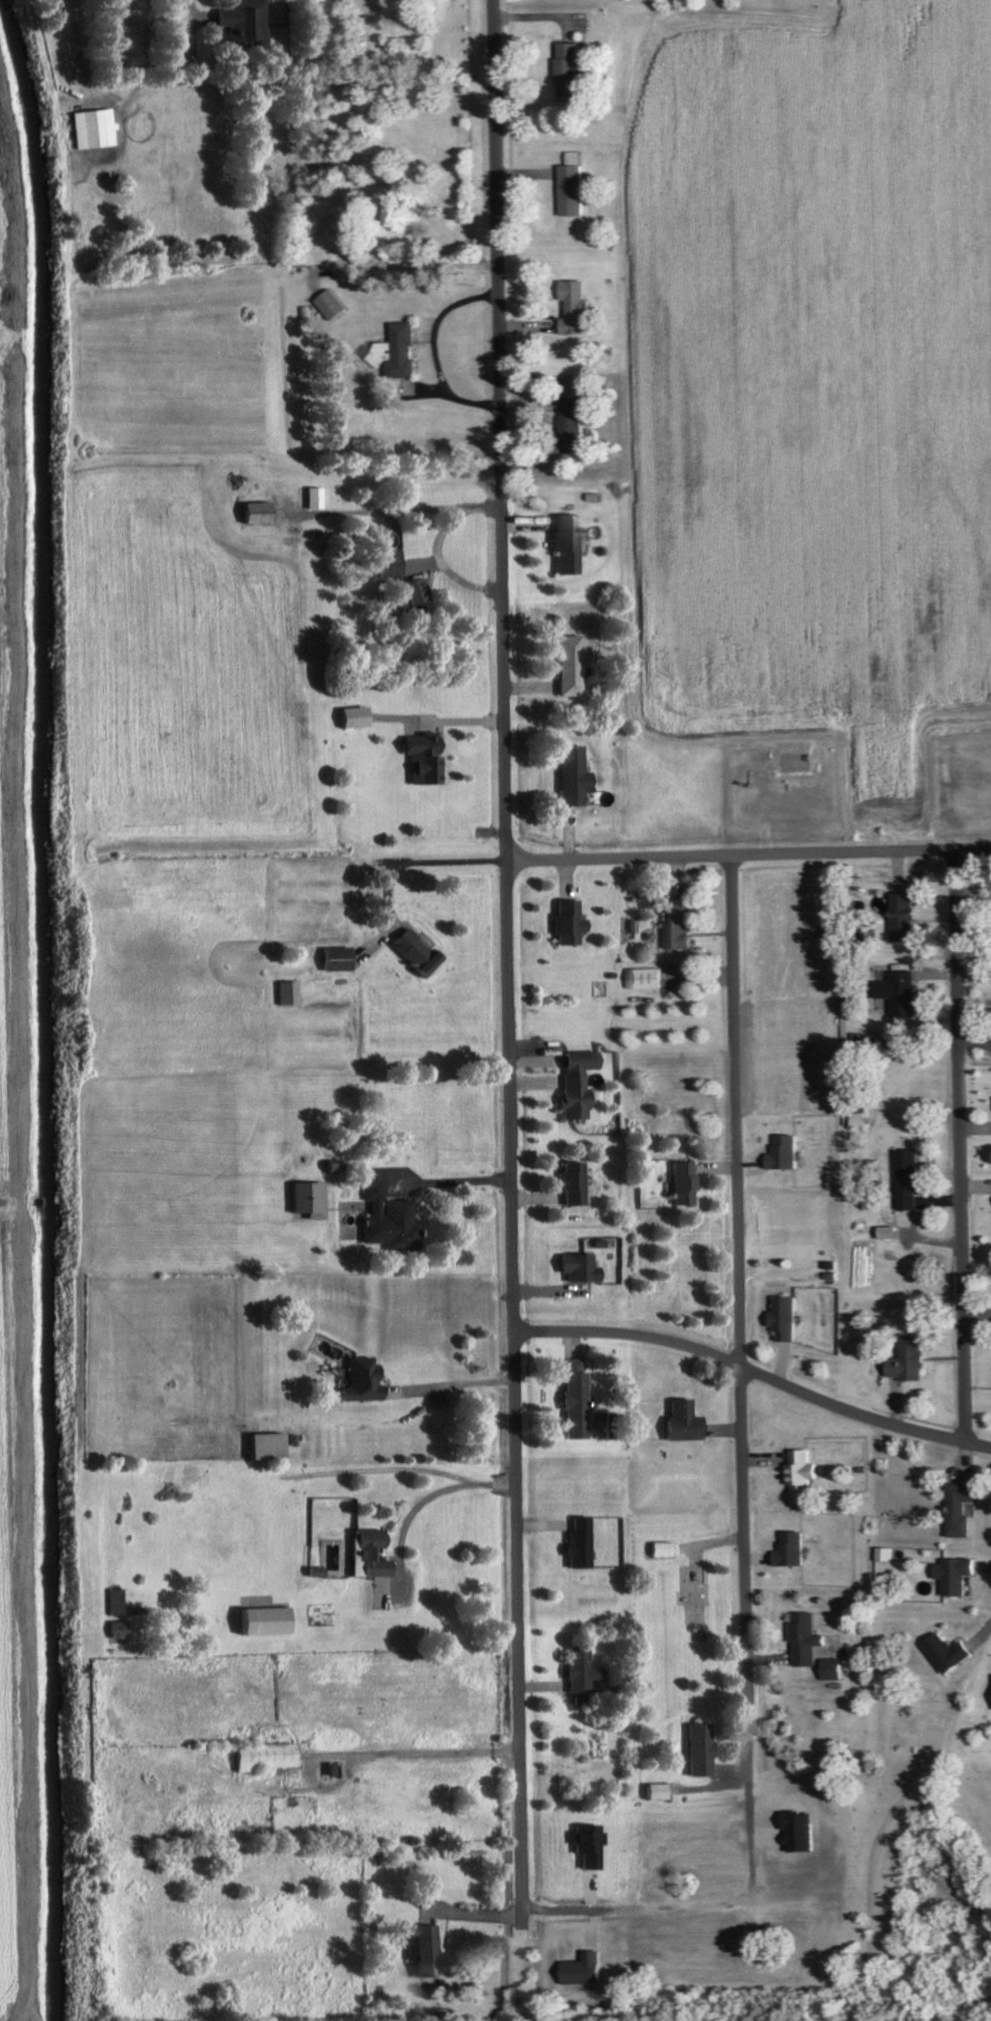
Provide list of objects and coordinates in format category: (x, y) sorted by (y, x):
building: (247, 23)
building: (571, 71)
road: (258, 84)
building: (95, 129)
building: (574, 186)
road: (468, 206)
building: (333, 306)
building: (577, 308)
road: (434, 349)
building: (399, 352)
building: (575, 423)
building: (316, 499)
road: (391, 508)
building: (261, 513)
building: (568, 545)
road: (442, 561)
building: (392, 564)
building: (418, 593)
building: (572, 666)
building: (357, 717)
building: (426, 758)
building: (575, 776)
road: (747, 852)
road: (443, 860)
building: (906, 917)
building: (570, 922)
building: (679, 924)
building: (417, 952)
building: (339, 959)
road: (505, 959)
building: (648, 979)
building: (288, 992)
building: (903, 993)
building: (578, 1084)
building: (861, 1119)
road: (956, 1142)
building: (786, 1153)
road: (440, 1177)
building: (911, 1180)
building: (575, 1183)
building: (684, 1183)
building: (310, 1199)
building: (390, 1220)
building: (892, 1233)
building: (580, 1268)
road: (738, 1316)
building: (788, 1318)
building: (910, 1361)
road: (754, 1367)
building: (362, 1381)
building: (576, 1400)
building: (684, 1421)
building: (269, 1446)
building: (804, 1473)
road: (425, 1485)
building: (962, 1509)
building: (581, 1543)
building: (658, 1550)
building: (793, 1551)
building: (886, 1555)
building: (958, 1576)
building: (117, 1602)
building: (269, 1621)
building: (119, 1630)
building: (808, 1640)
building: (949, 1654)
building: (835, 1670)
building: (582, 1671)
road: (409, 1749)
building: (700, 1750)
building: (267, 1757)
building: (657, 1792)
building: (804, 1833)
building: (588, 1846)
building: (426, 1953)
building: (589, 1970)

